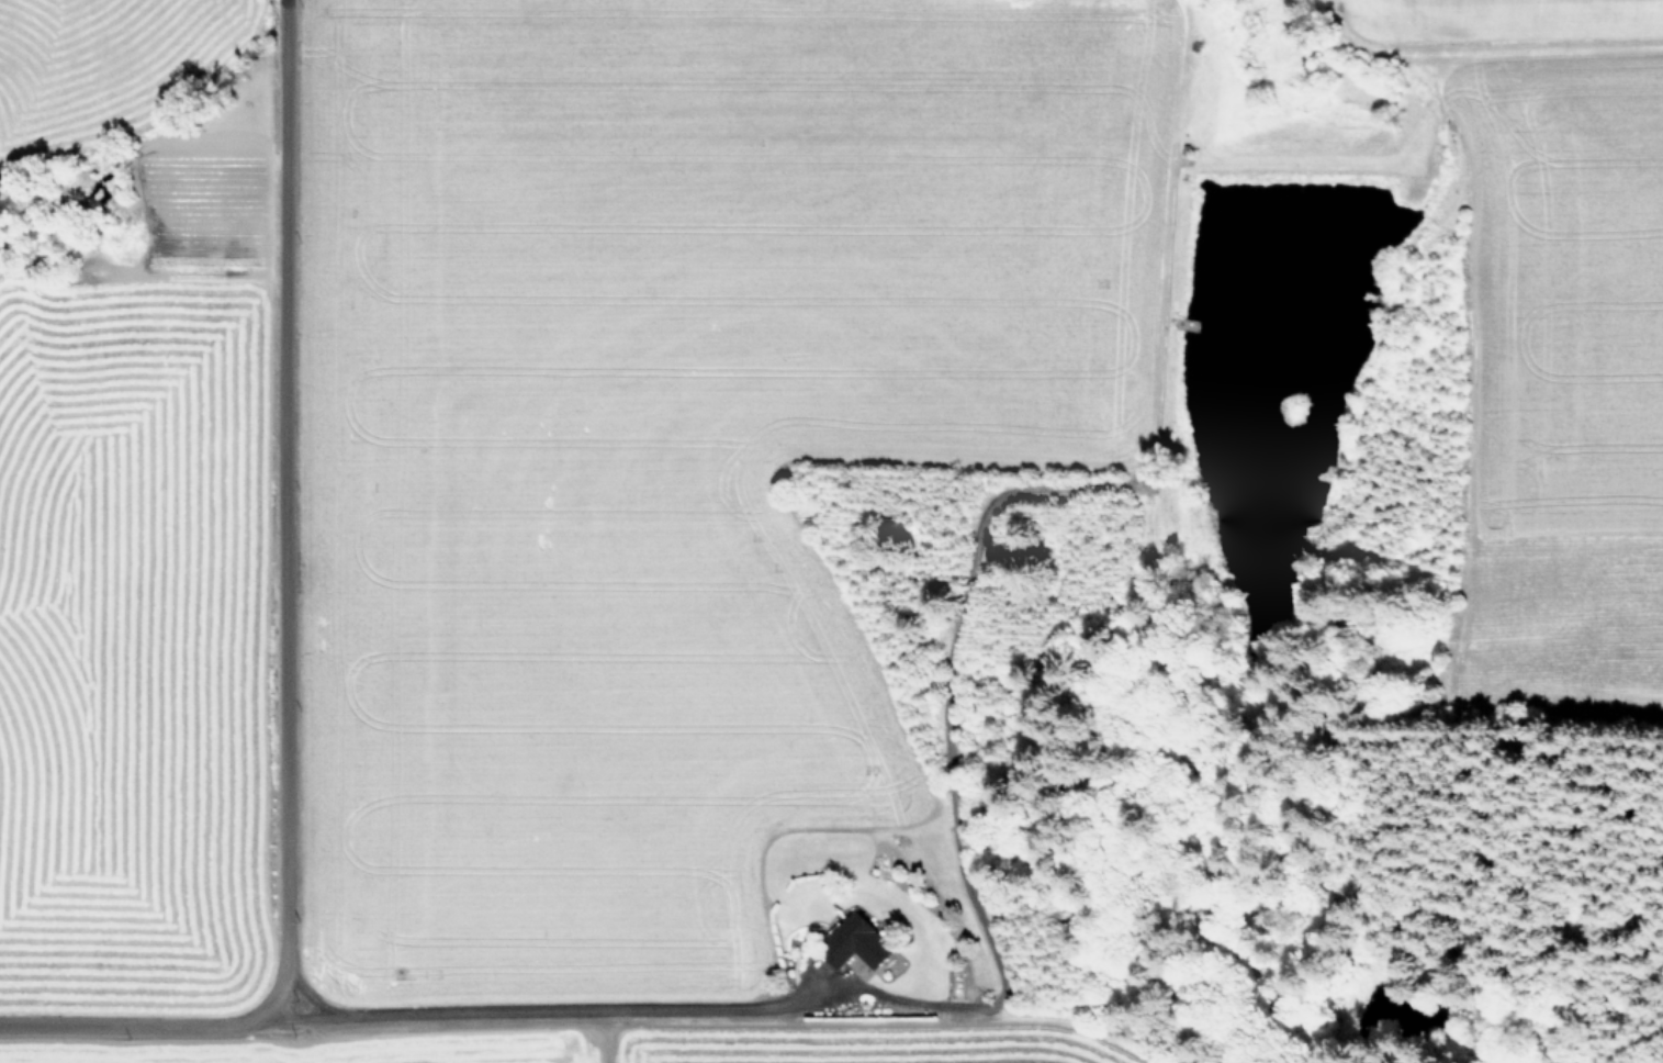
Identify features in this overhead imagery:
crop: (1543, 348)
crop: (123, 491)
crop: (665, 496)
road: (282, 638)
building: (861, 940)
road: (306, 997)
road: (541, 1014)

